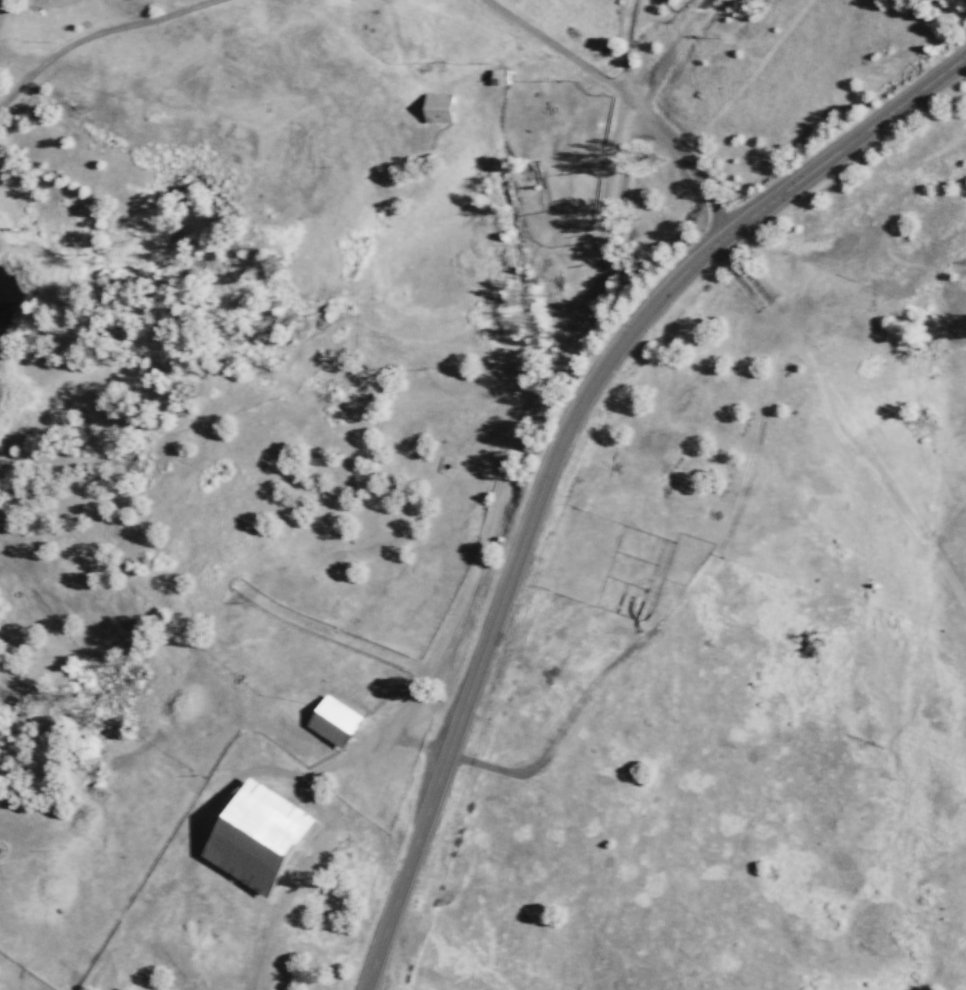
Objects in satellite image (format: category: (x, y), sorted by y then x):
road: (98, 32)
road: (623, 46)
building: (499, 76)
road: (628, 95)
building: (439, 108)
road: (527, 411)
road: (833, 427)
road: (557, 448)
building: (335, 722)
building: (260, 837)

